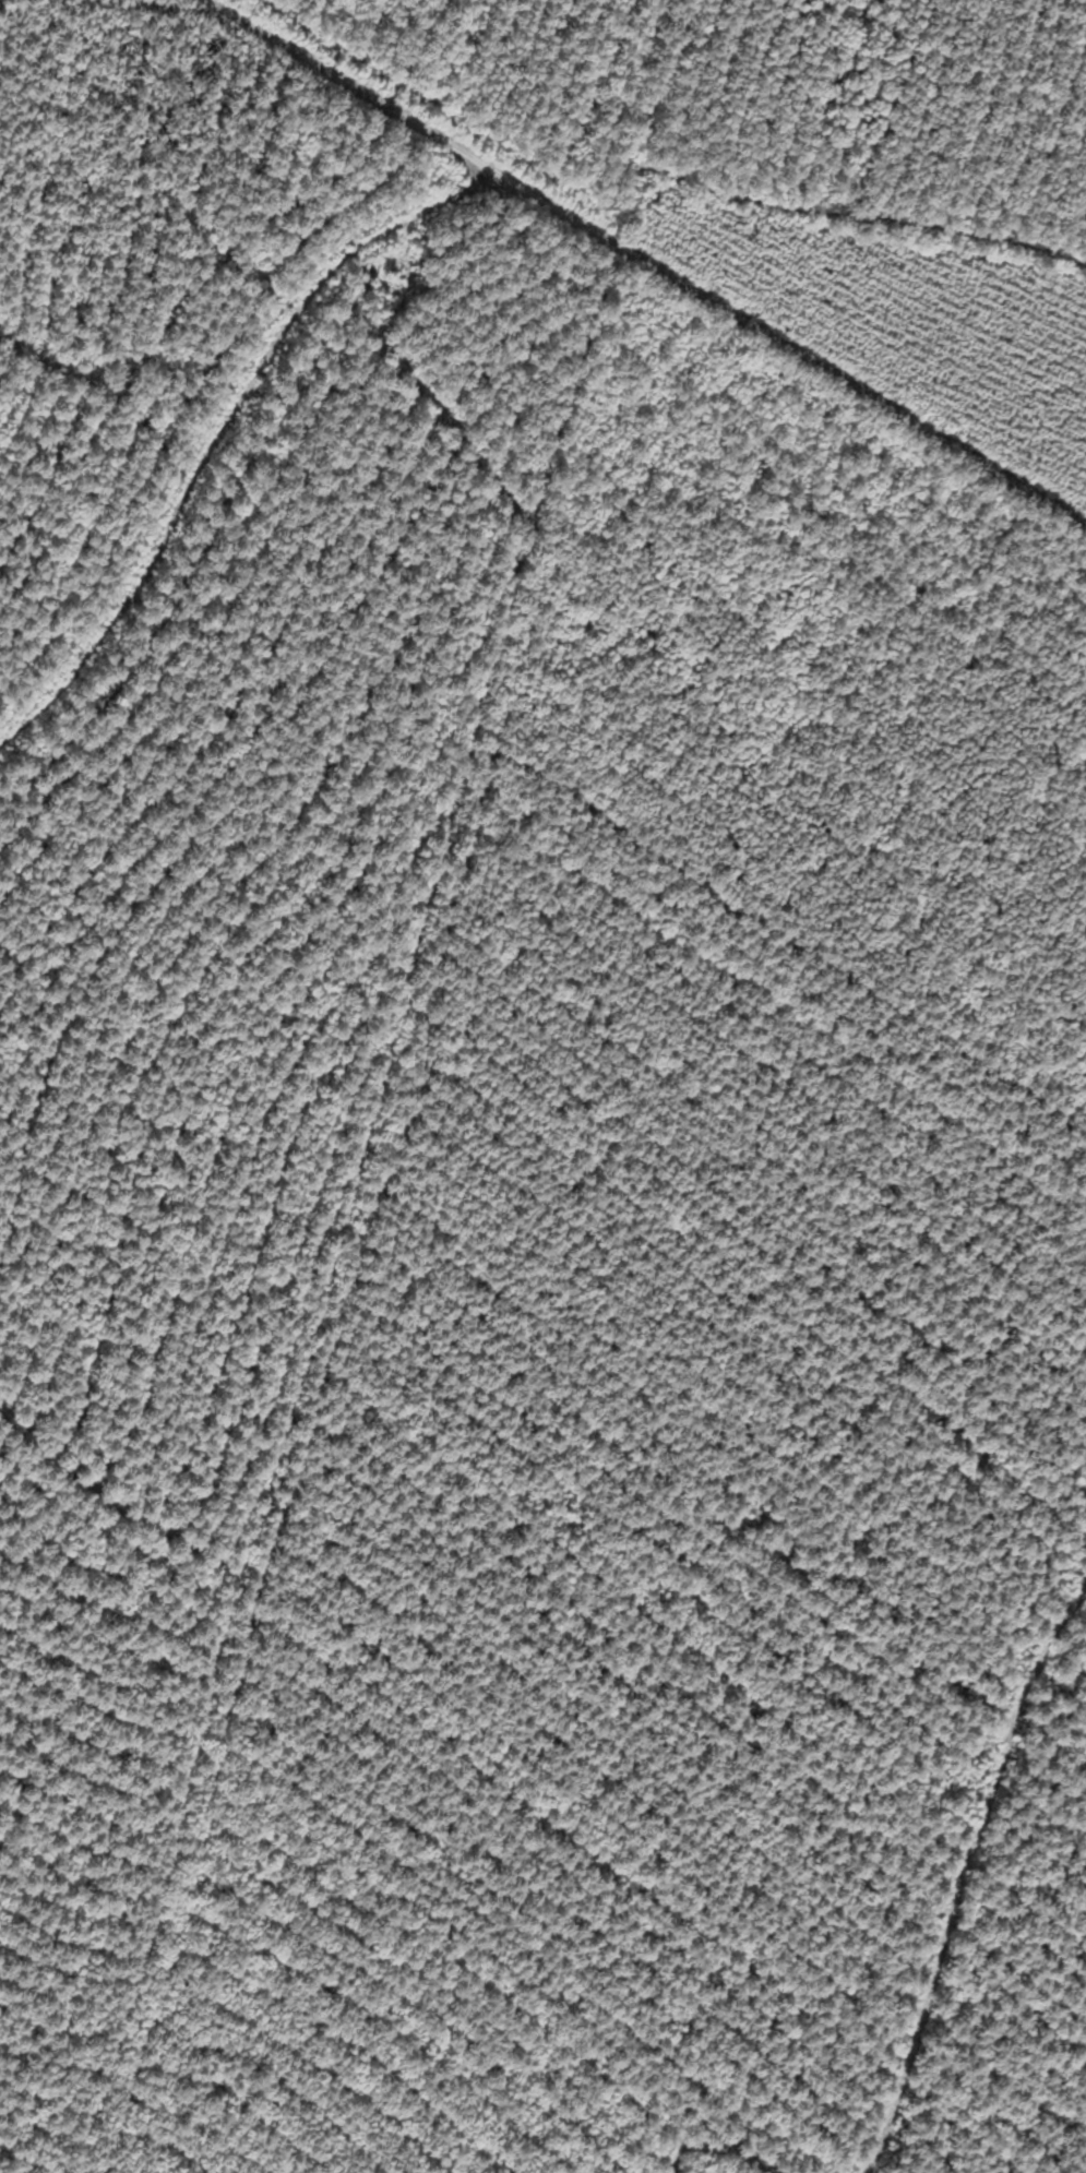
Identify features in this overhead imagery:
road: (642, 270)

